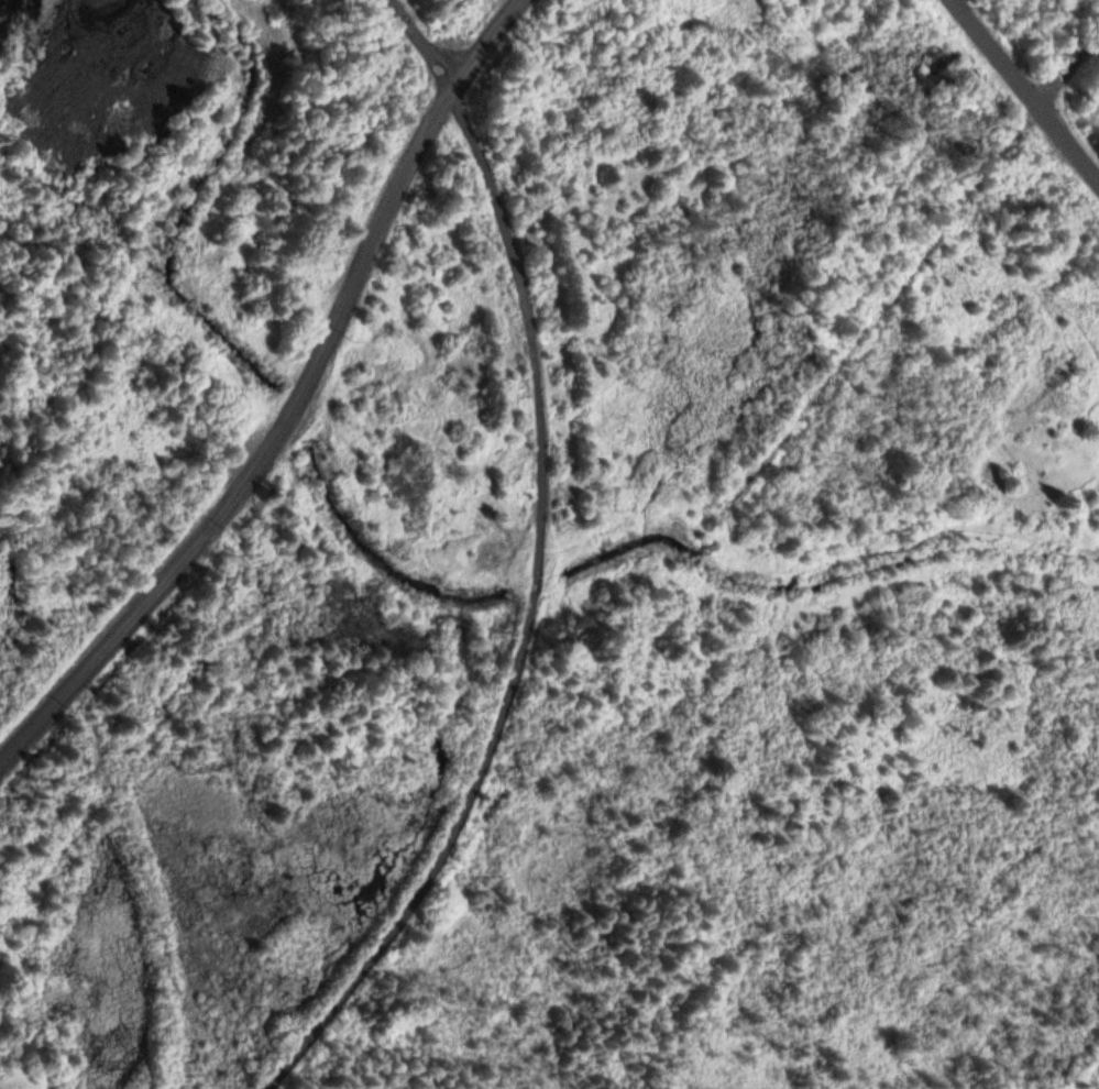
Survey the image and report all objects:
road: (1023, 92)
road: (292, 405)
road: (542, 566)

